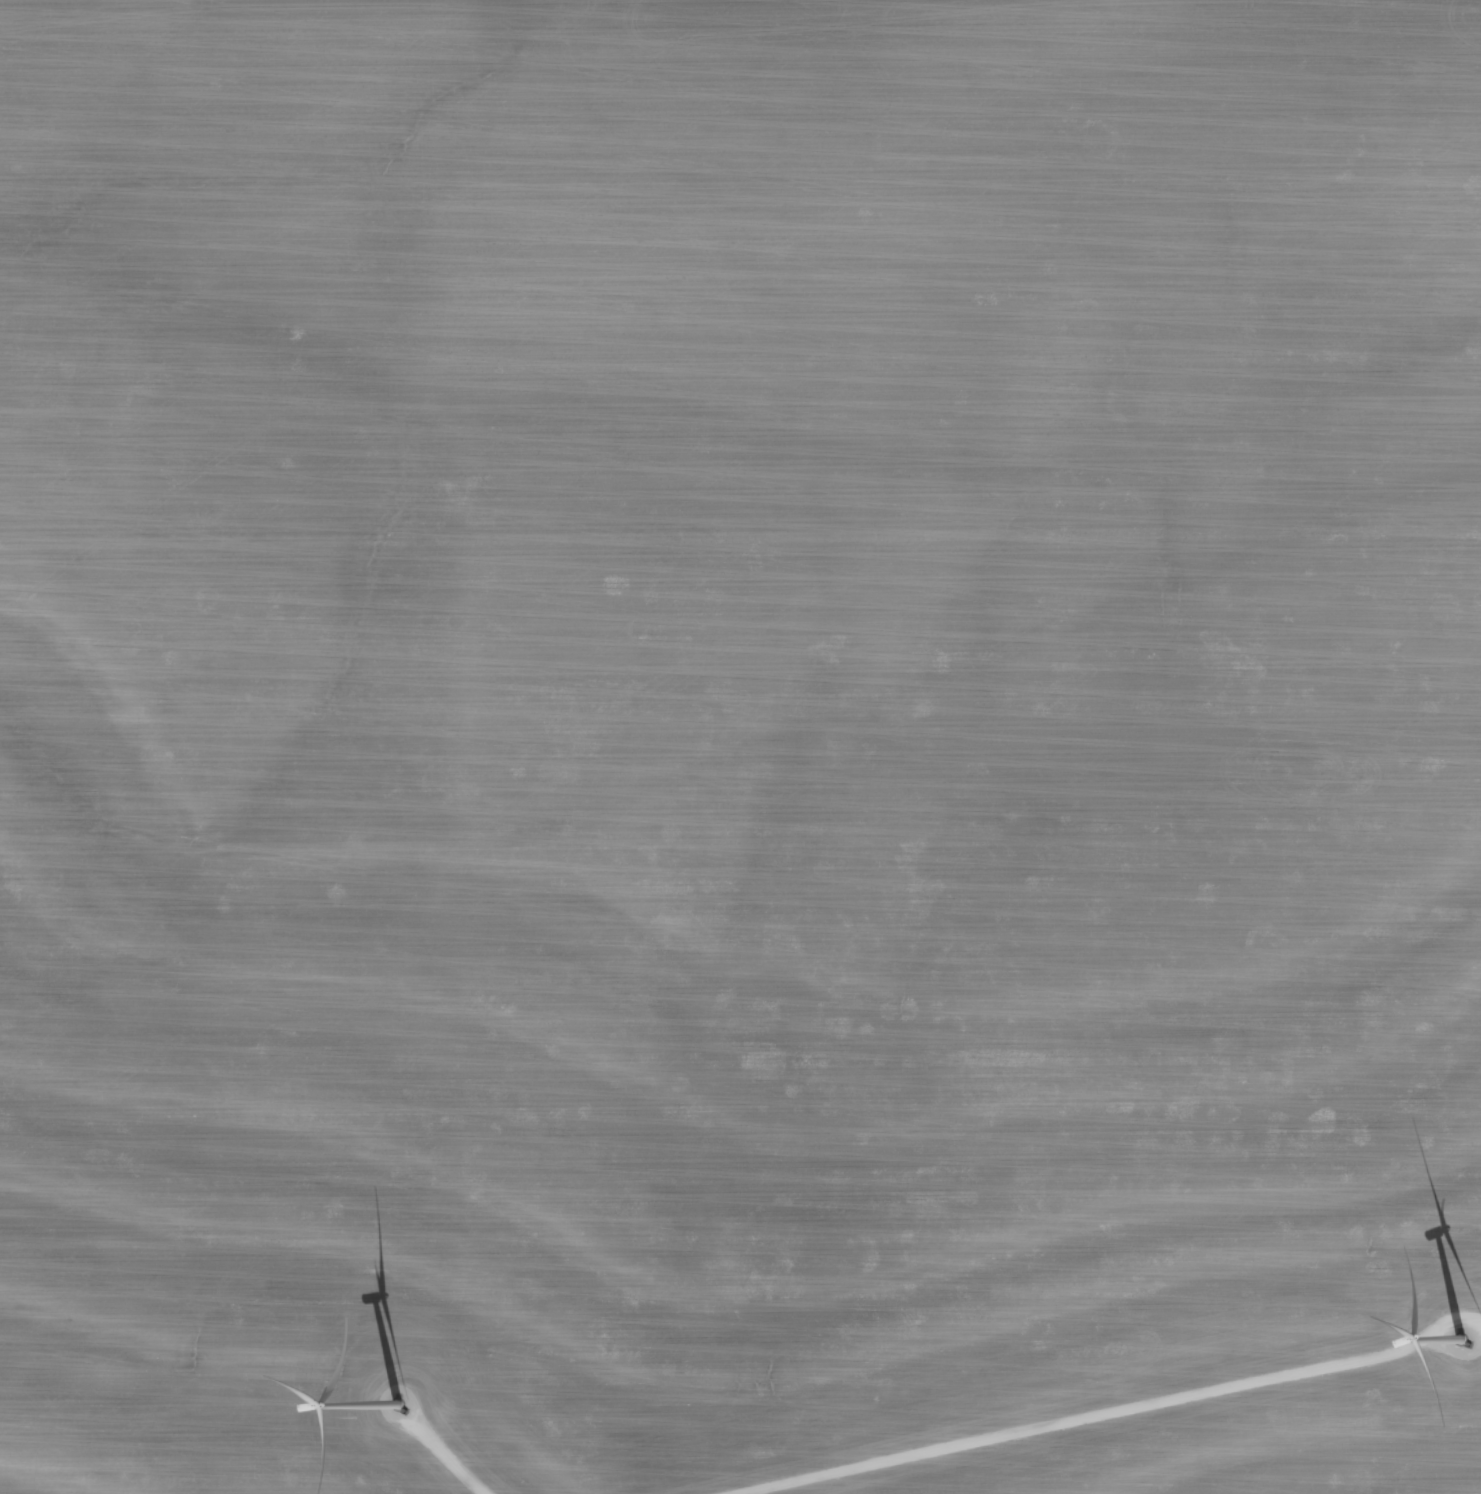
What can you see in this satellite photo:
wind turbine: (1457, 1339)
wind turbine: (394, 1405)

